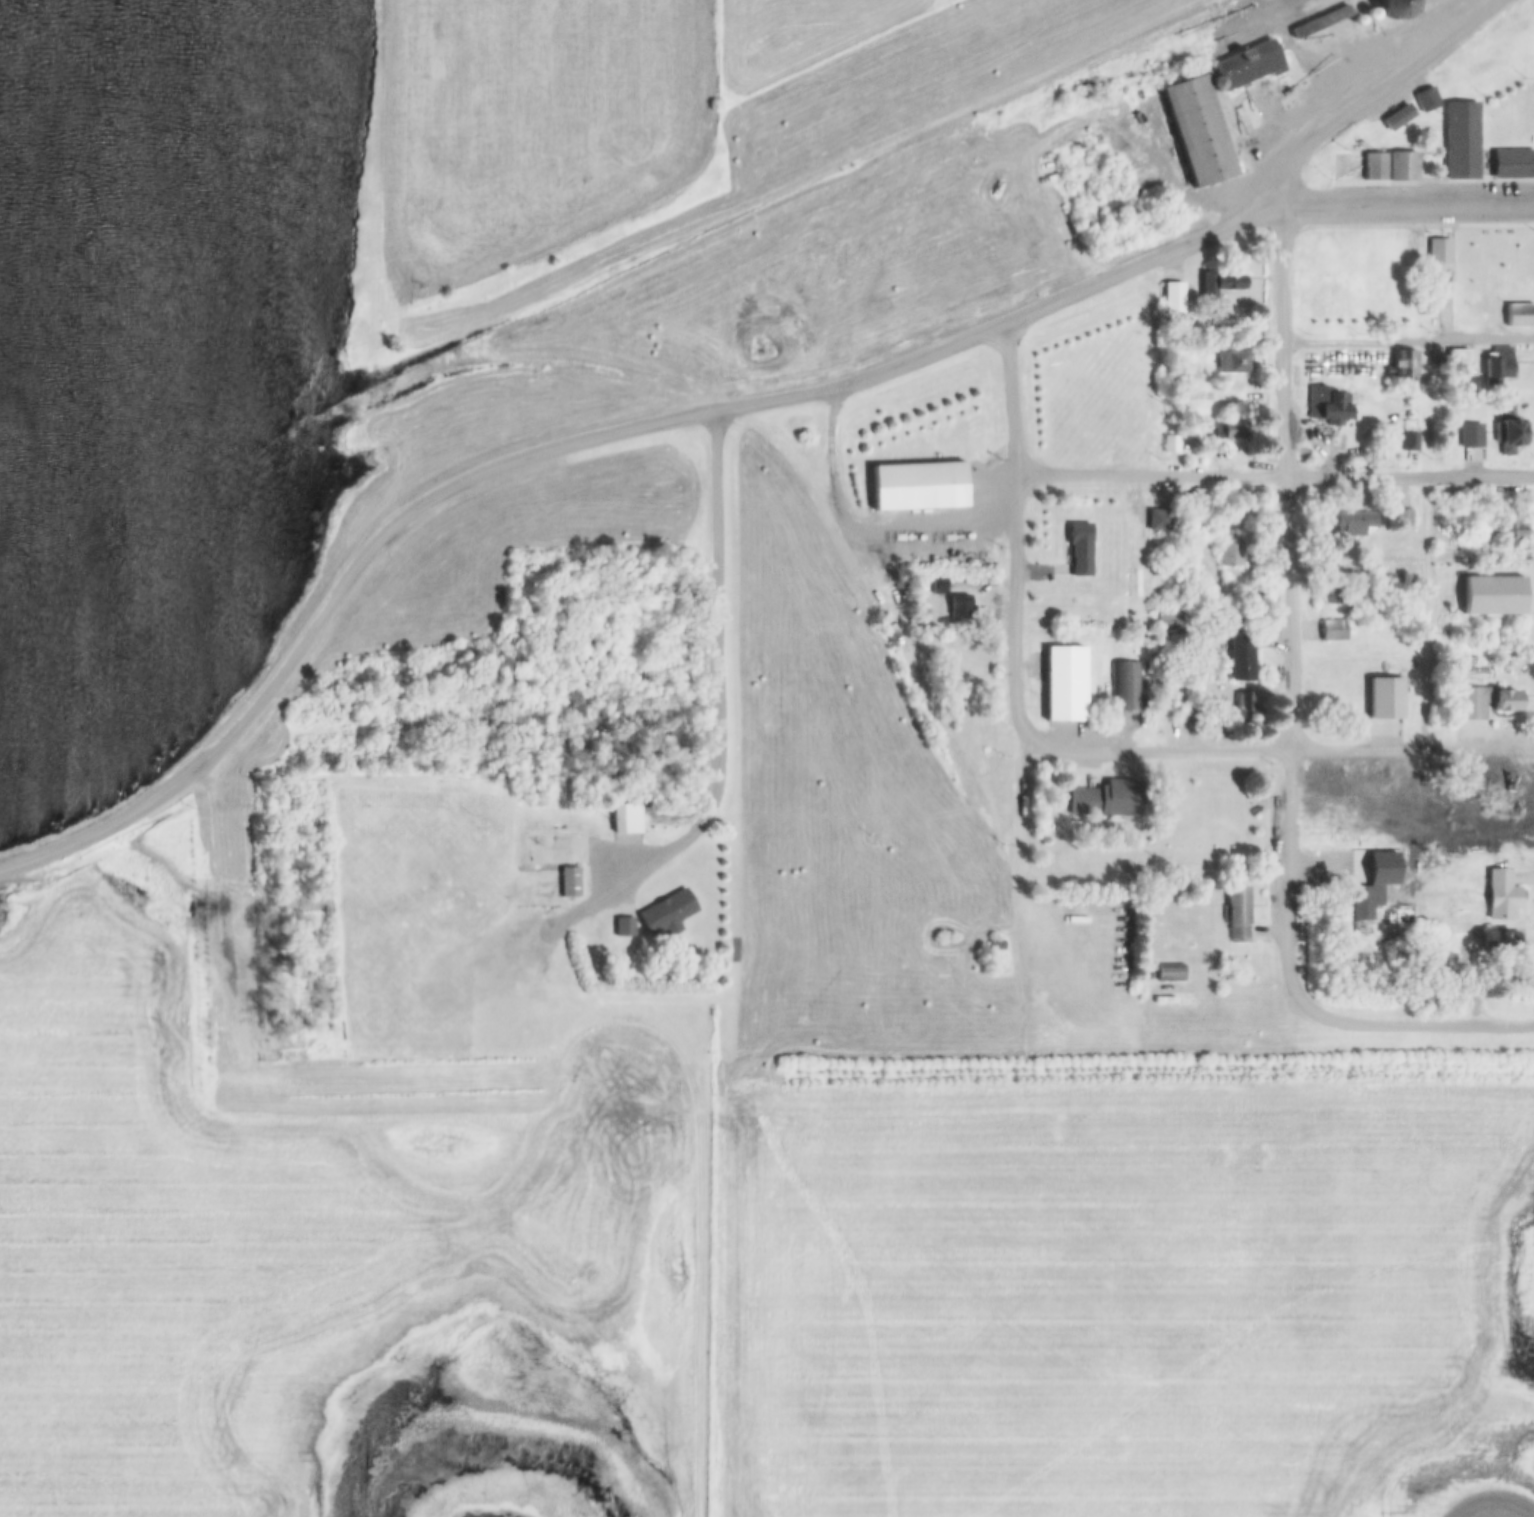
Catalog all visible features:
building: (1394, 9)
silo: (1394, 9)
building: (1369, 15)
silo: (1369, 15)
building: (1356, 21)
silo: (1356, 21)
building: (1320, 22)
storage tank: (1317, 40)
storage tank: (1307, 44)
building: (1284, 60)
silo: (1284, 60)
building: (1250, 64)
building: (1211, 84)
silo: (1211, 84)
road: (1377, 92)
building: (1426, 100)
building: (1217, 101)
silo: (1217, 101)
building: (1221, 113)
silo: (1221, 113)
building: (1406, 113)
silo: (1406, 113)
building: (1391, 120)
silo: (1391, 120)
crop: (526, 124)
building: (1226, 126)
silo: (1226, 126)
building: (1196, 132)
building: (1230, 139)
silo: (1230, 139)
building: (1460, 141)
building: (1235, 152)
silo: (1235, 152)
building: (1512, 165)
building: (1239, 167)
silo: (1239, 167)
building: (1373, 167)
building: (1402, 167)
building: (1350, 170)
road: (1409, 205)
building: (1497, 249)
building: (1439, 252)
building: (1523, 252)
building: (1471, 262)
building: (1220, 284)
building: (1173, 300)
building: (1519, 316)
road: (1409, 340)
building: (1458, 359)
building: (1232, 363)
building: (1403, 364)
building: (1497, 366)
road: (851, 386)
building: (1327, 406)
building: (1230, 431)
building: (1508, 435)
building: (1471, 436)
building: (1409, 442)
building: (1170, 446)
road: (1275, 476)
building: (917, 488)
building: (1487, 517)
building: (1404, 519)
building: (1197, 520)
building: (1158, 521)
building: (1354, 524)
building: (1512, 536)
road: (1016, 537)
building: (1079, 549)
building: (1230, 552)
building: (938, 587)
building: (1509, 596)
building: (959, 608)
road: (1290, 618)
building: (1334, 632)
building: (1242, 659)
building: (1126, 688)
building: (1385, 700)
building: (1484, 703)
building: (1242, 711)
building: (1192, 713)
road: (230, 728)
road: (722, 746)
road: (1281, 752)
building: (1106, 800)
building: (1503, 807)
building: (604, 815)
silo: (604, 815)
building: (627, 820)
building: (1137, 871)
building: (1391, 878)
road: (1034, 880)
building: (568, 883)
building: (1502, 897)
building: (1361, 904)
building: (666, 915)
building: (1237, 915)
building: (623, 928)
building: (1499, 941)
building: (995, 946)
building: (1169, 974)
road: (1181, 1021)
road: (1428, 1023)

